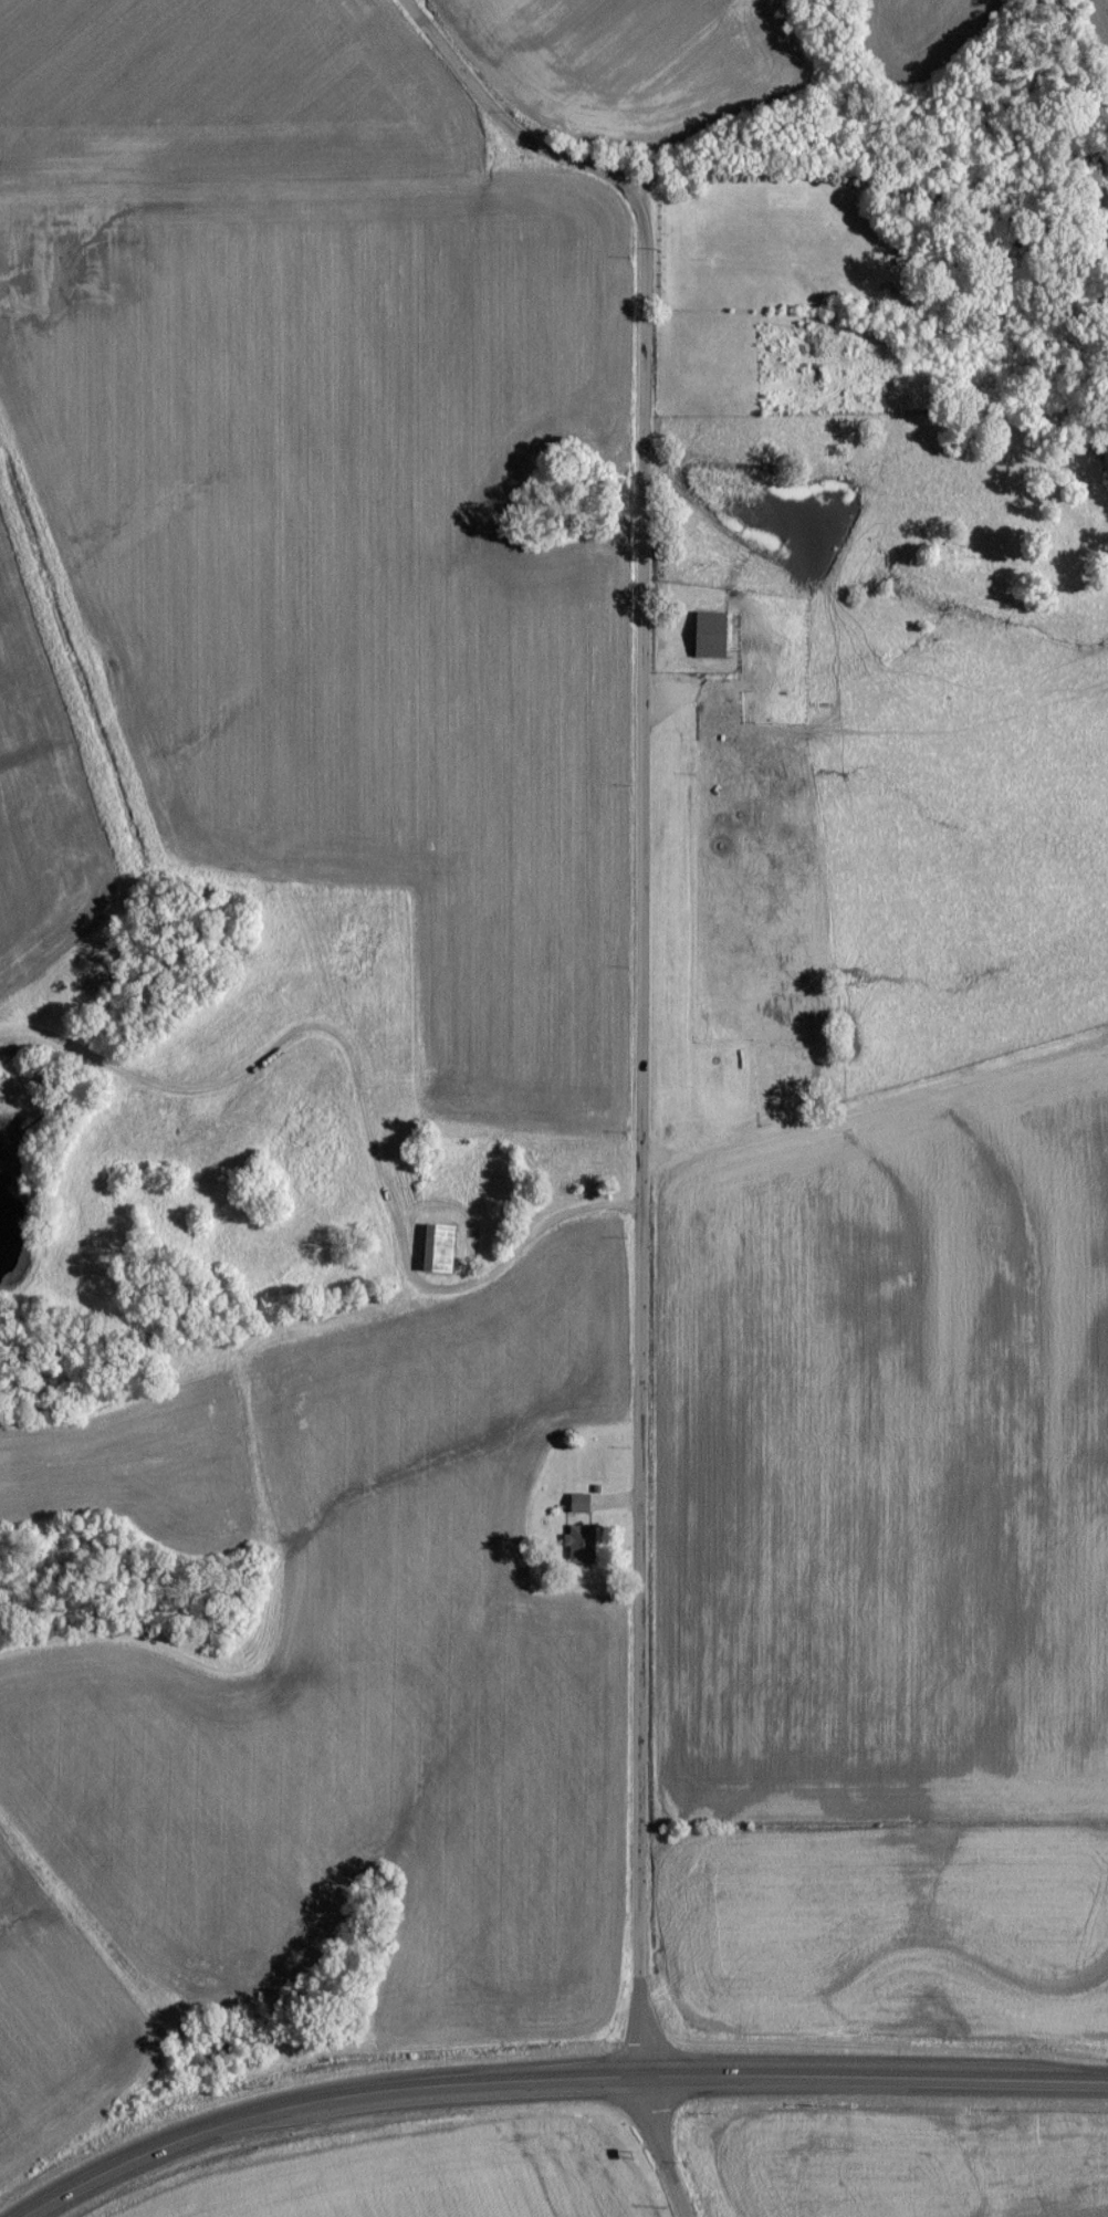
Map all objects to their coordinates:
road: (876, 98)
road: (503, 126)
building: (705, 641)
road: (644, 1210)
building: (433, 1256)
building: (577, 1539)
road: (554, 2082)

